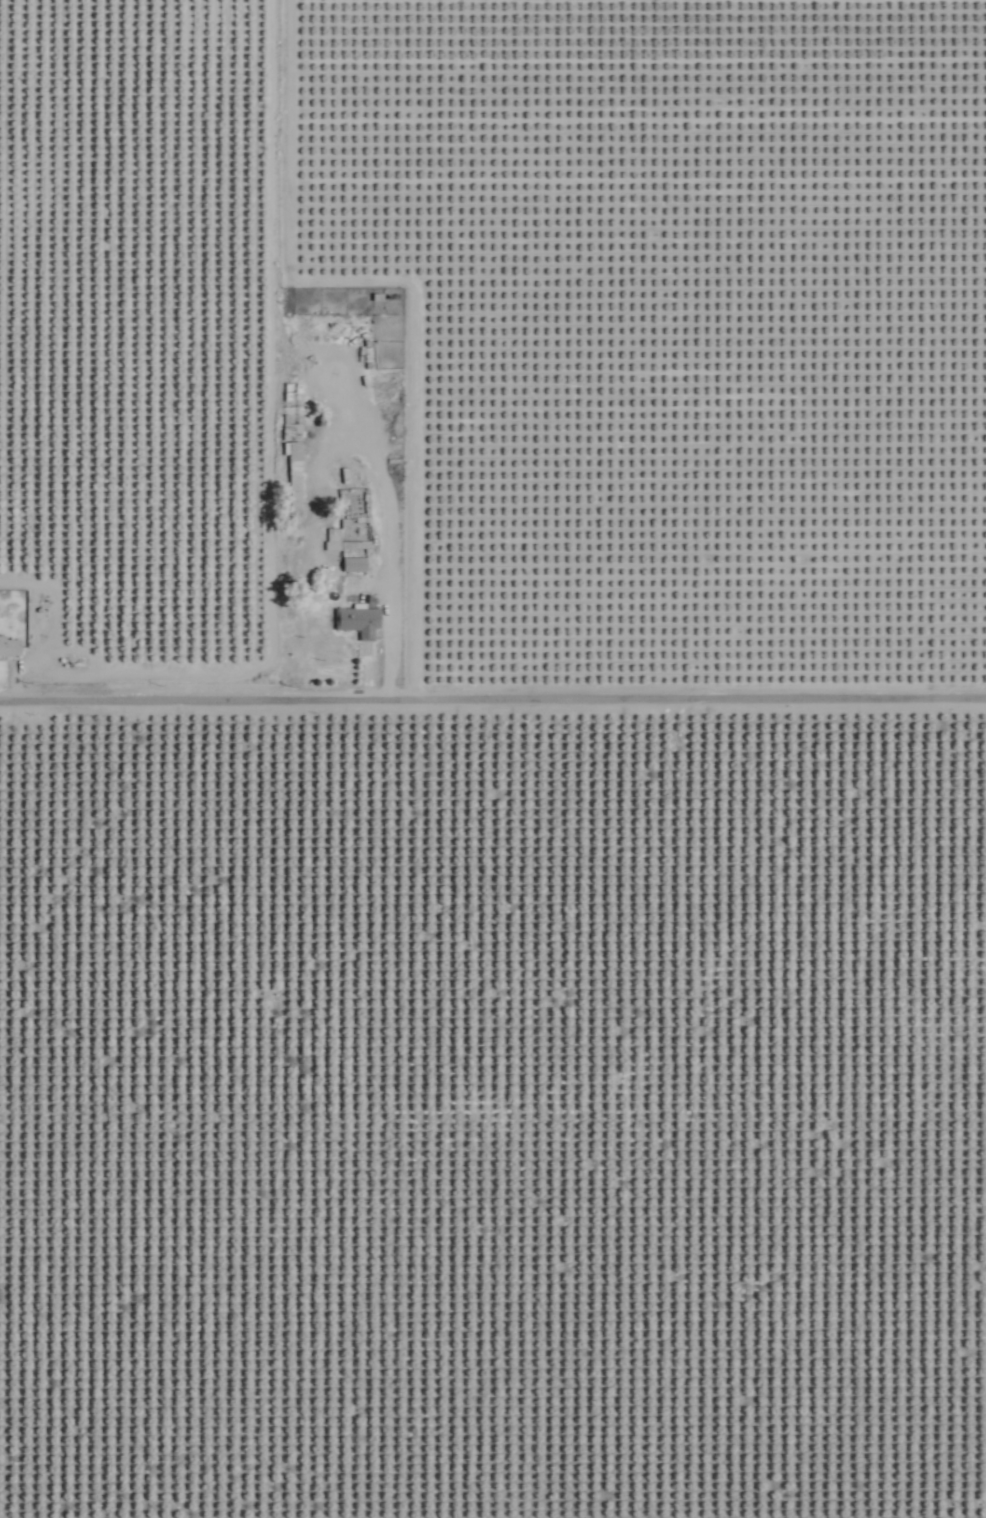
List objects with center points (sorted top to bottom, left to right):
building: (297, 479)
building: (334, 537)
building: (361, 618)
building: (11, 644)
road: (493, 693)
crop: (558, 836)

